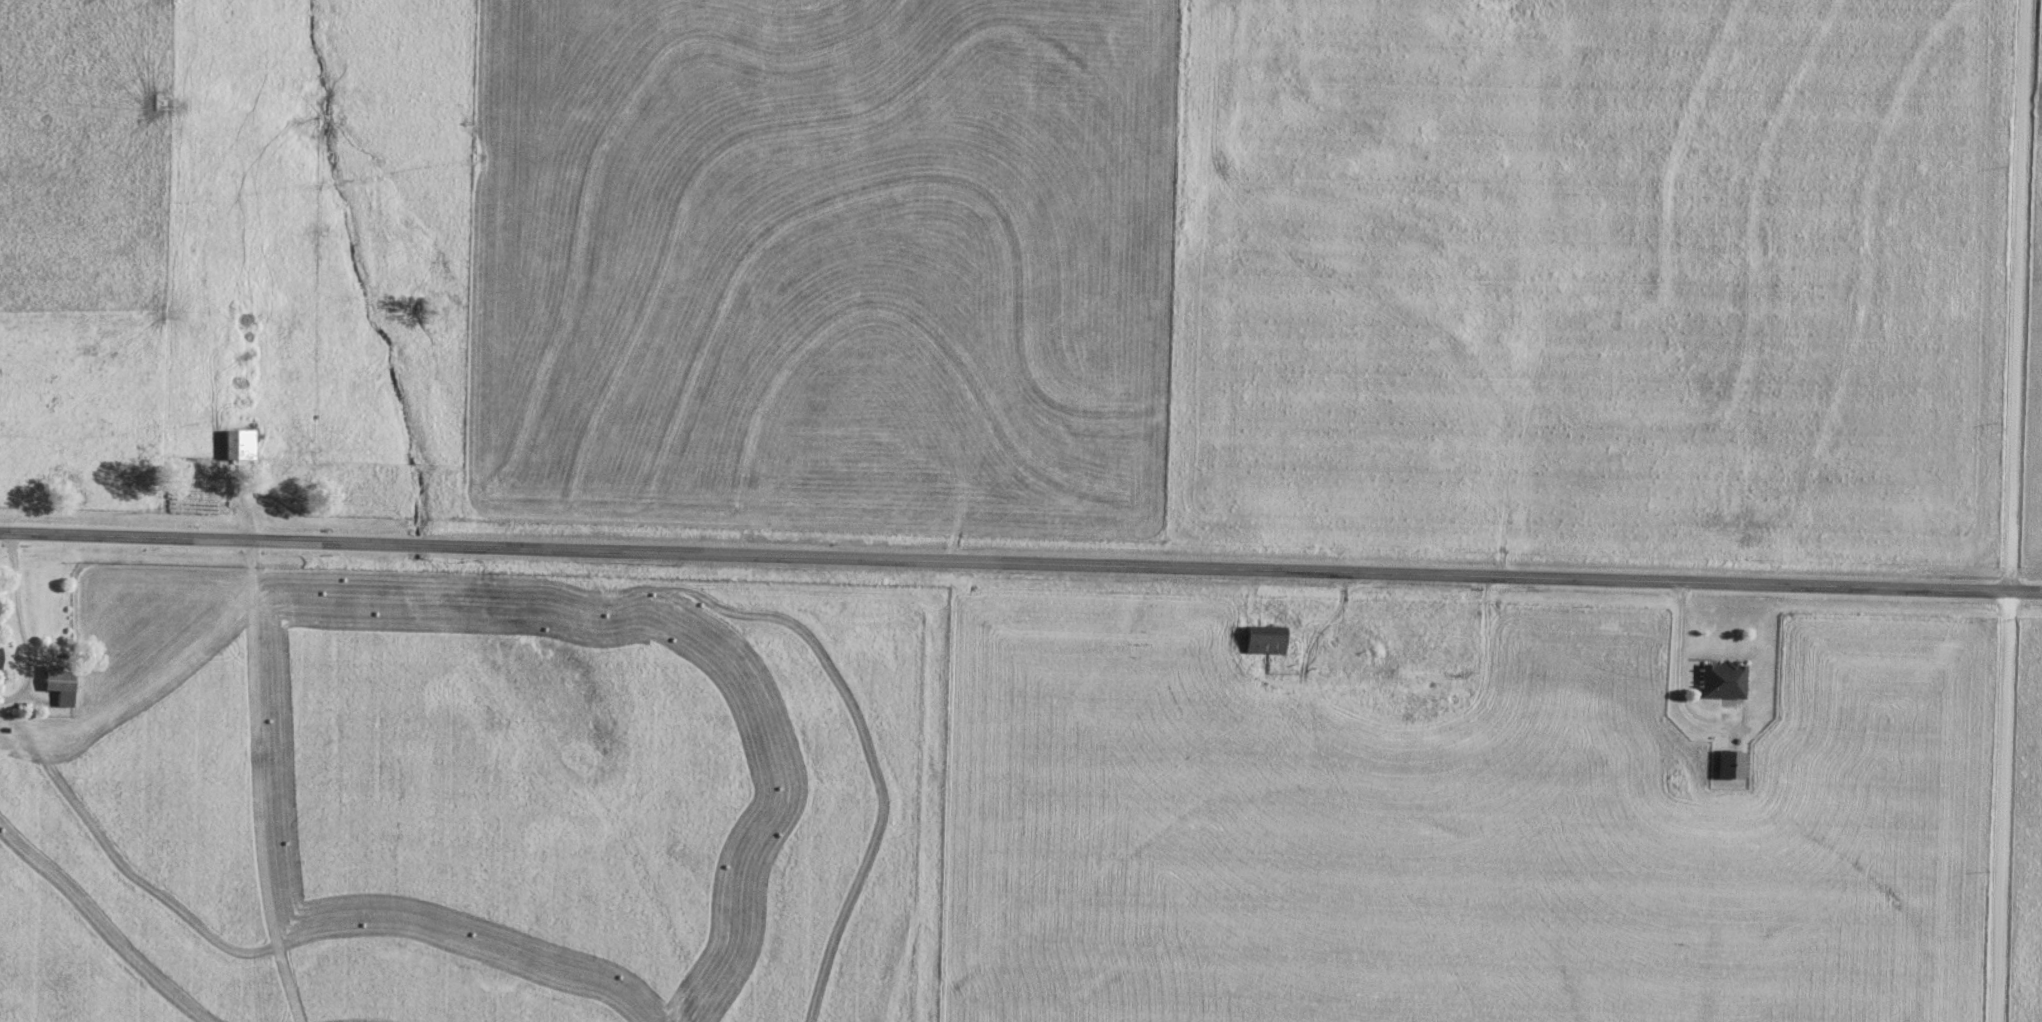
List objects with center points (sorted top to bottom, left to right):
building: (241, 444)
road: (2014, 511)
road: (168, 539)
road: (1189, 567)
road: (21, 628)
building: (1266, 639)
building: (1, 656)
building: (61, 679)
building: (1723, 679)
building: (1733, 764)

